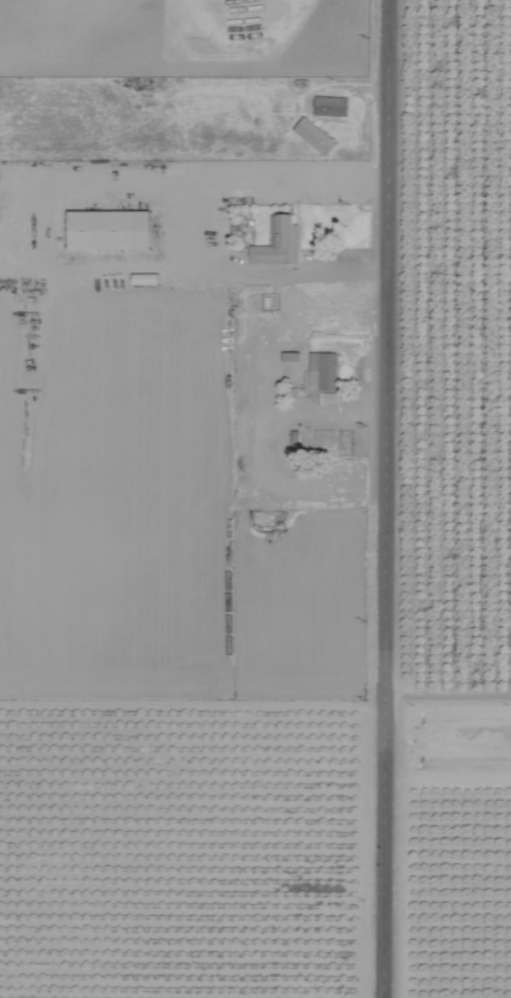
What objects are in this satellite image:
building: (332, 104)
building: (315, 134)
road: (187, 214)
building: (109, 228)
building: (279, 240)
crop: (460, 365)
building: (323, 369)
building: (328, 395)
road: (395, 499)
road: (452, 694)

